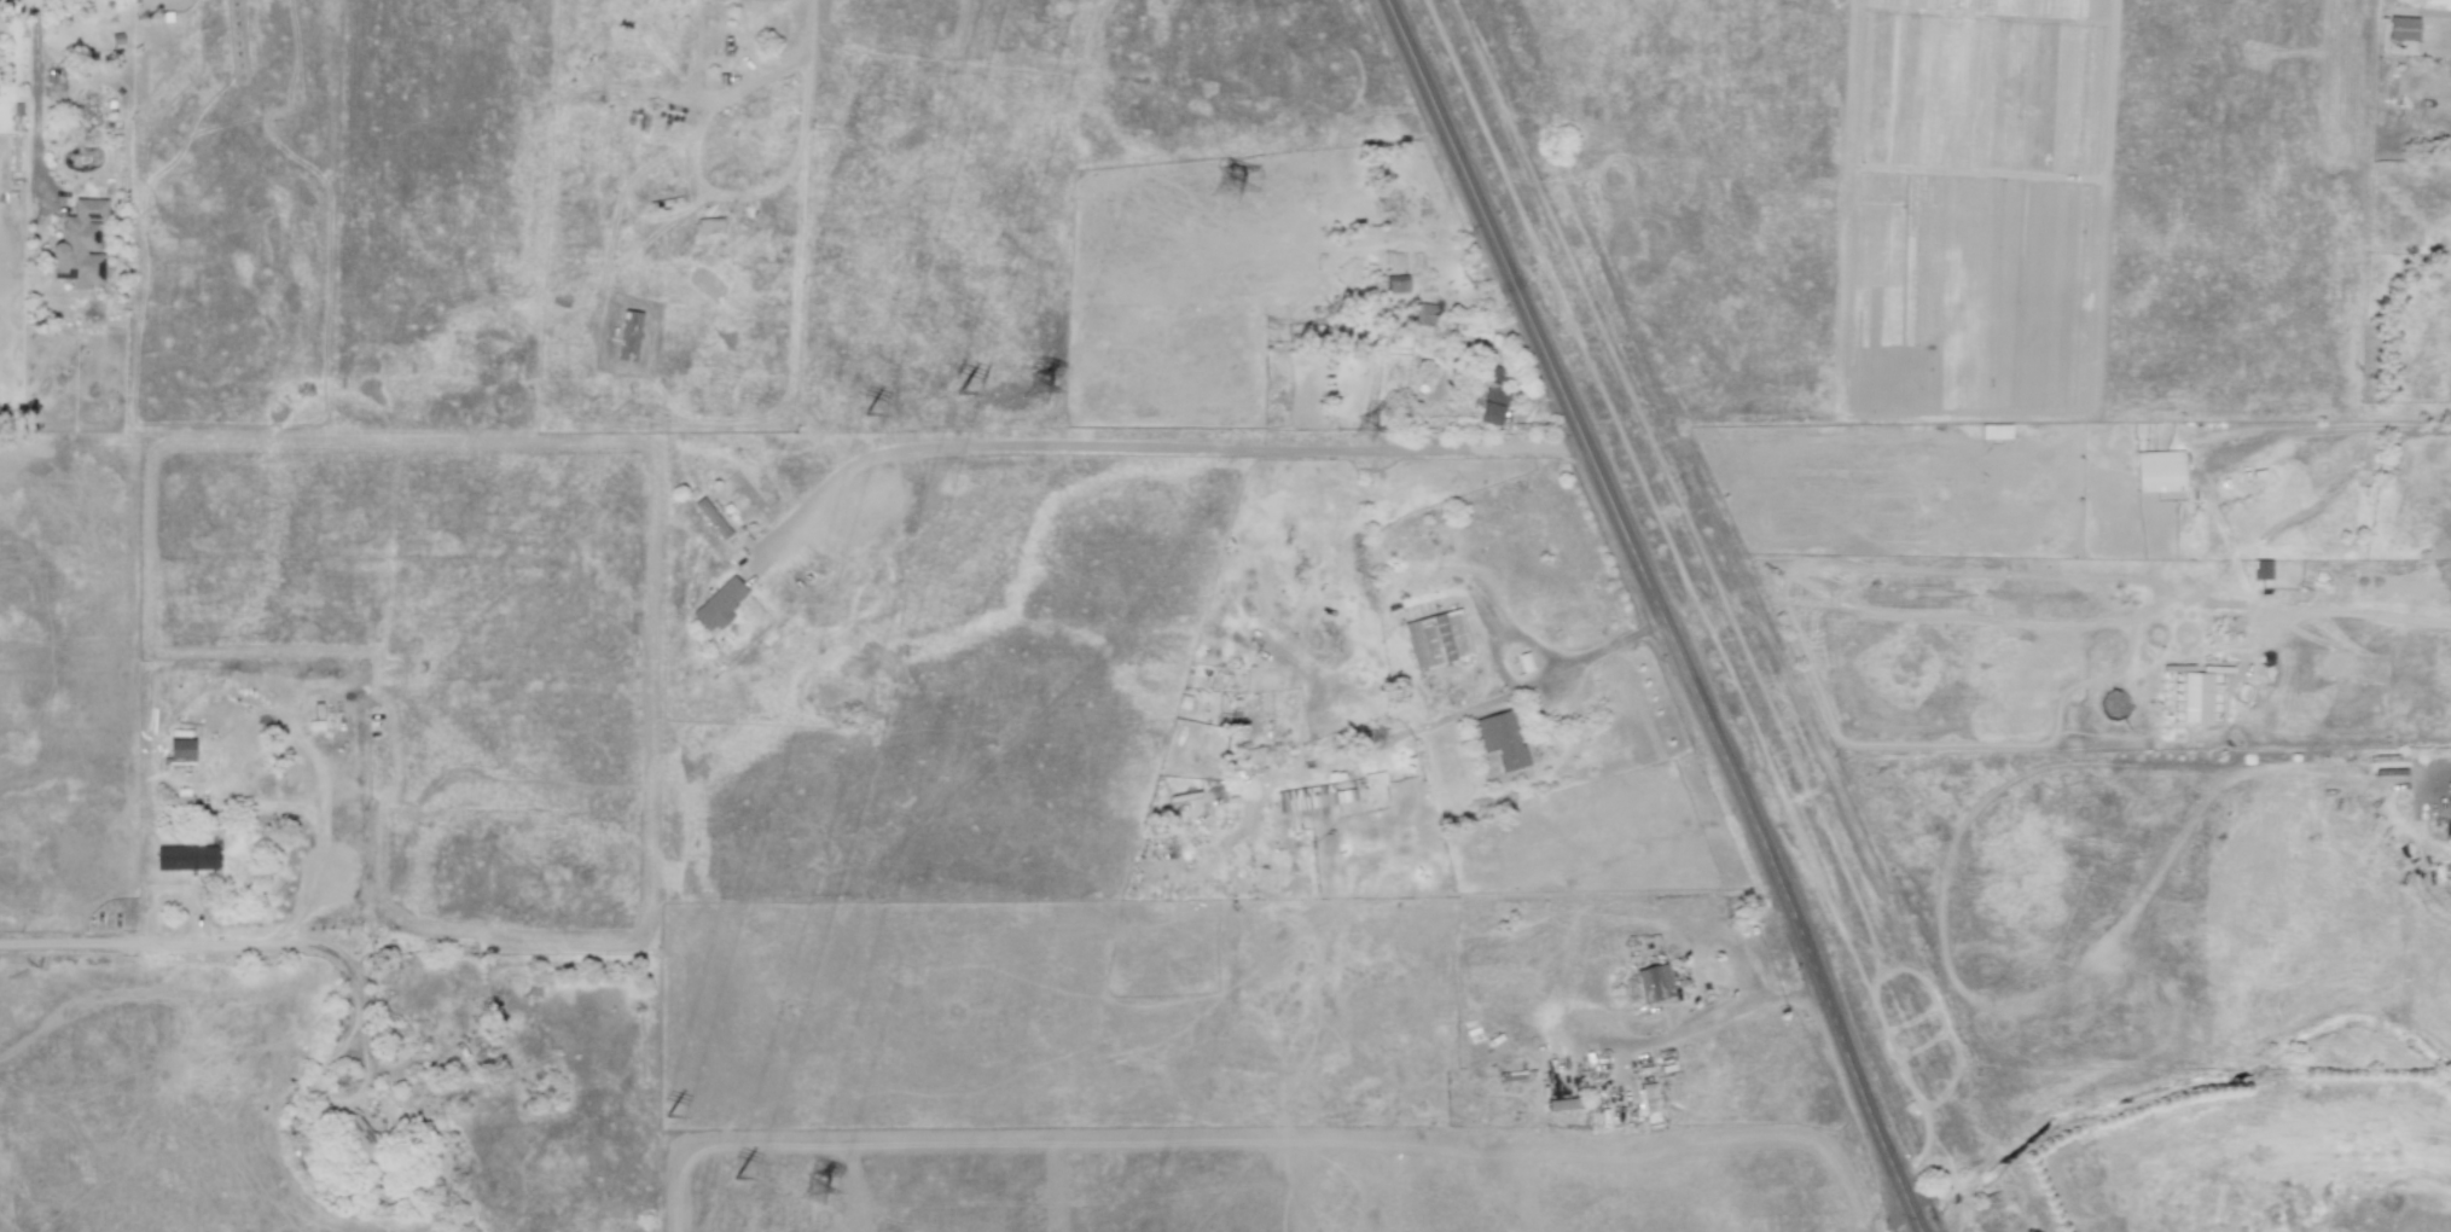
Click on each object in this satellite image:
building: (2401, 28)
road: (776, 71)
road: (35, 92)
power tower: (1229, 188)
building: (709, 225)
building: (80, 244)
building: (1395, 284)
building: (1422, 314)
building: (628, 335)
power tower: (1038, 391)
building: (1494, 396)
road: (2337, 429)
power tower: (1366, 431)
building: (1994, 431)
road: (1161, 449)
building: (2159, 471)
building: (712, 517)
building: (2260, 569)
building: (719, 604)
road: (1656, 615)
building: (1436, 639)
road: (129, 641)
building: (2195, 697)
road: (1436, 717)
building: (1500, 739)
road: (2444, 773)
building: (1373, 779)
building: (1311, 797)
building: (181, 802)
building: (185, 858)
building: (2450, 881)
road: (216, 946)
building: (1653, 983)
crop: (2249, 1086)
building: (1646, 1094)
building: (359, 1135)
power tower: (814, 1192)

